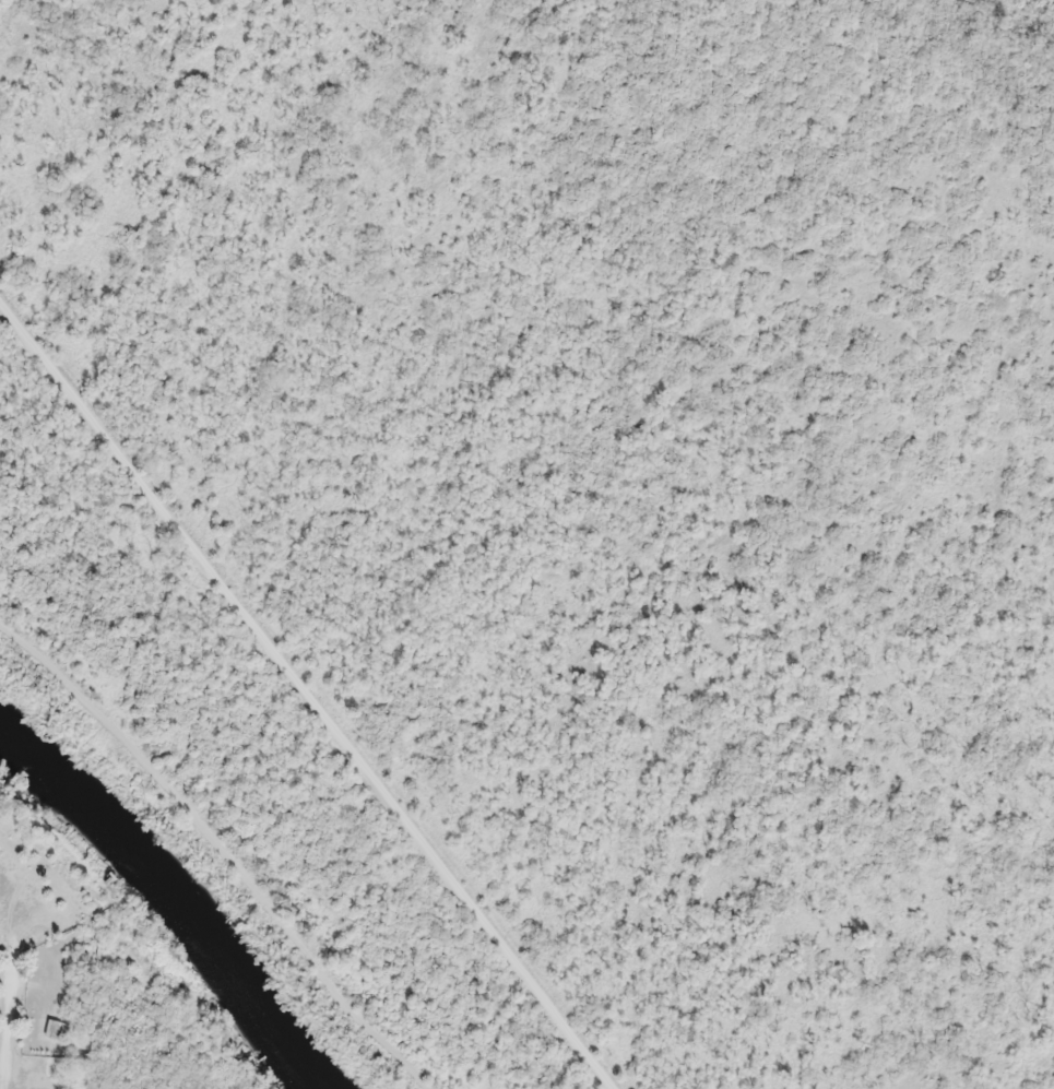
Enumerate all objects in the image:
road: (305, 694)
road: (223, 847)
river: (174, 901)
road: (11, 1021)

